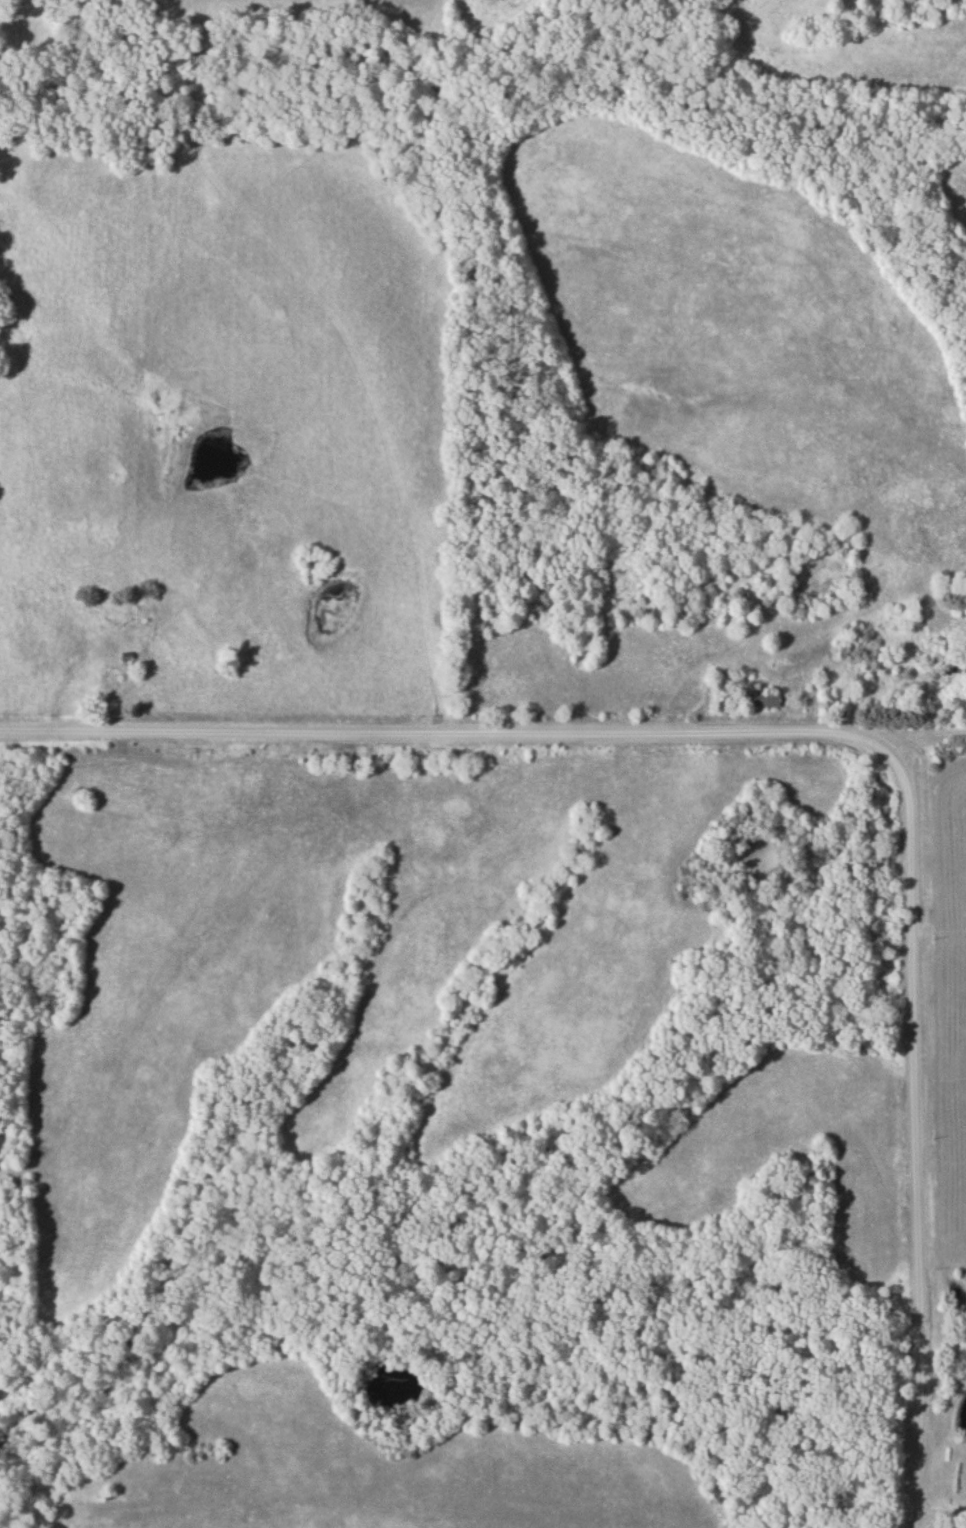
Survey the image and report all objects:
building: (767, 700)
road: (908, 734)
road: (837, 735)
road: (941, 1508)

